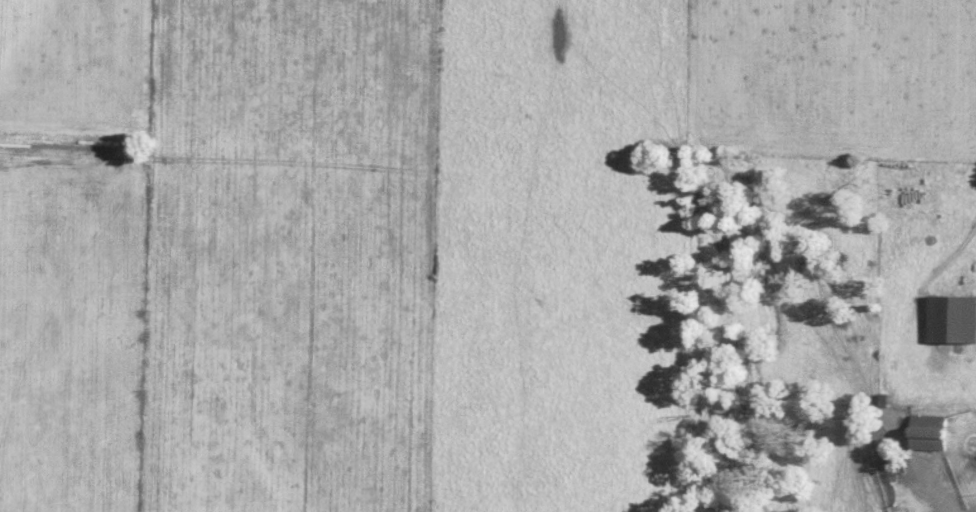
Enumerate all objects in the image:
building: (953, 319)
building: (930, 433)

